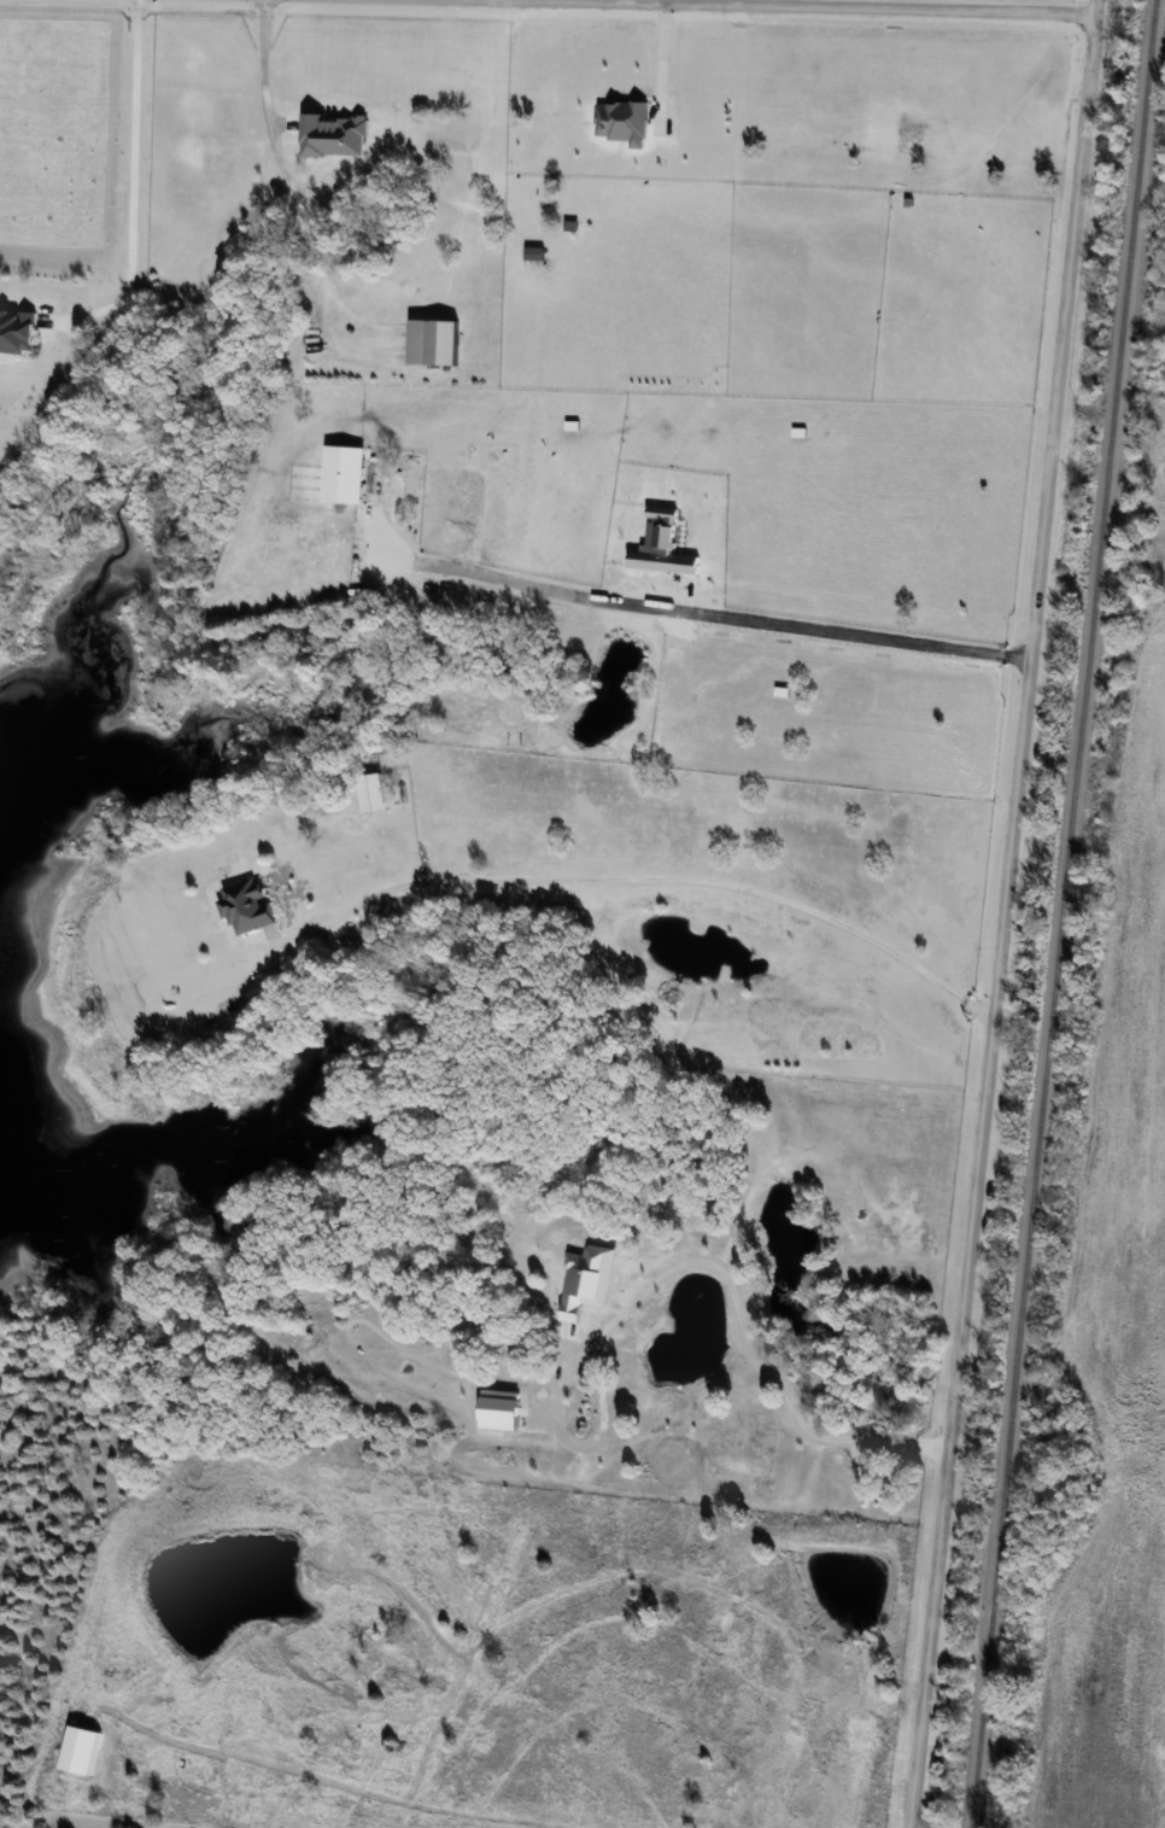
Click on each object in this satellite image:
road: (592, 1)
road: (790, 6)
road: (657, 64)
road: (125, 187)
road: (282, 191)
building: (357, 479)
road: (859, 635)
building: (371, 792)
road: (644, 877)
building: (247, 905)
road: (1003, 913)
railway: (1061, 913)
road: (684, 1268)

